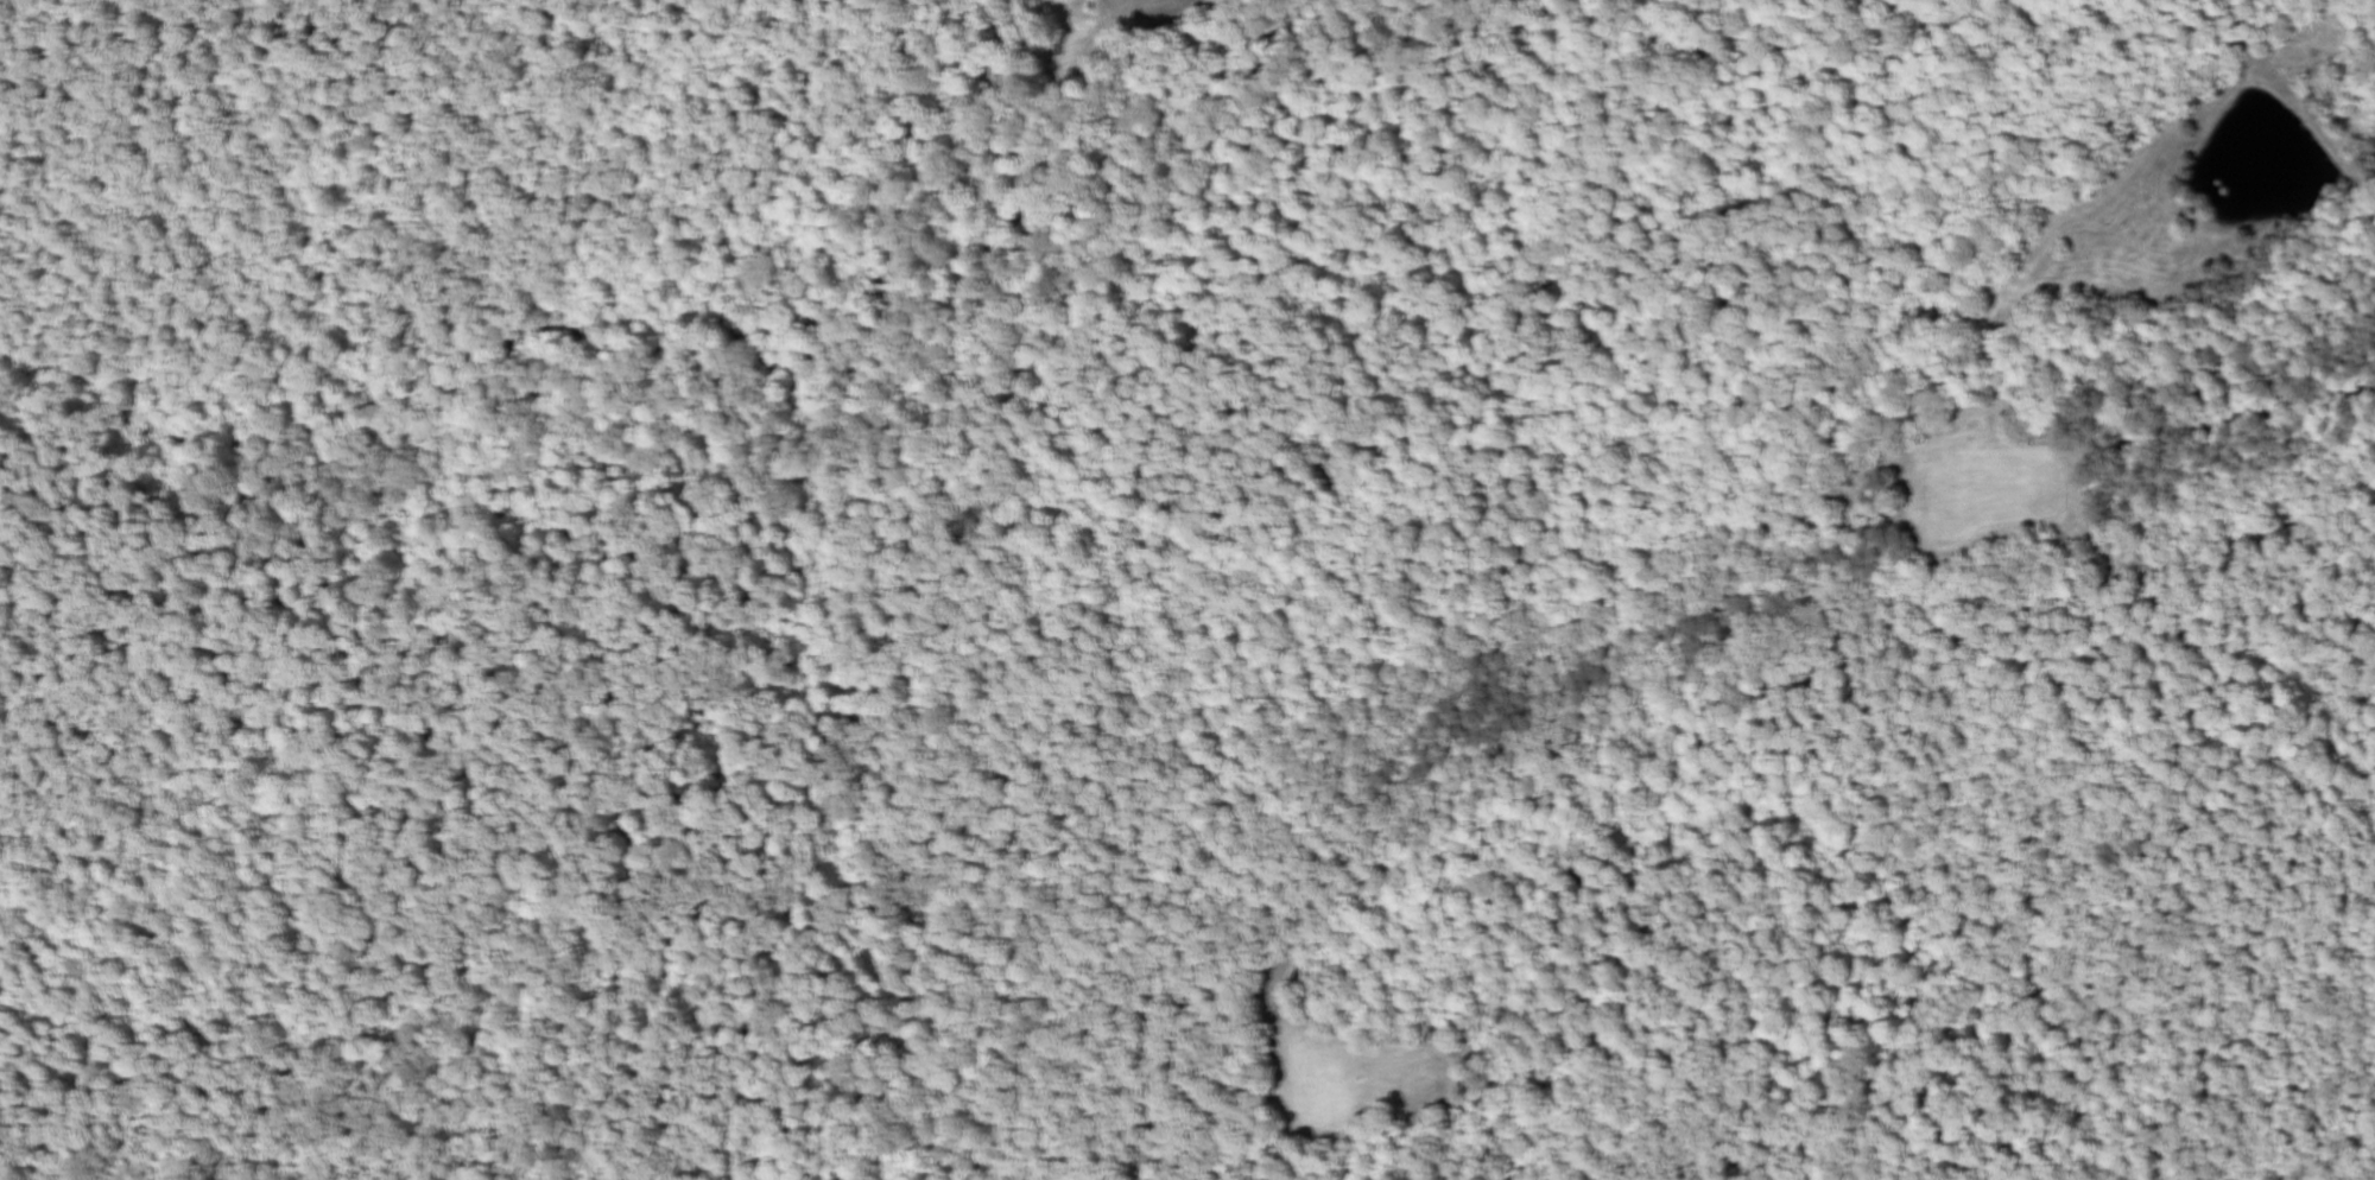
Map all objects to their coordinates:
road: (1695, 759)

